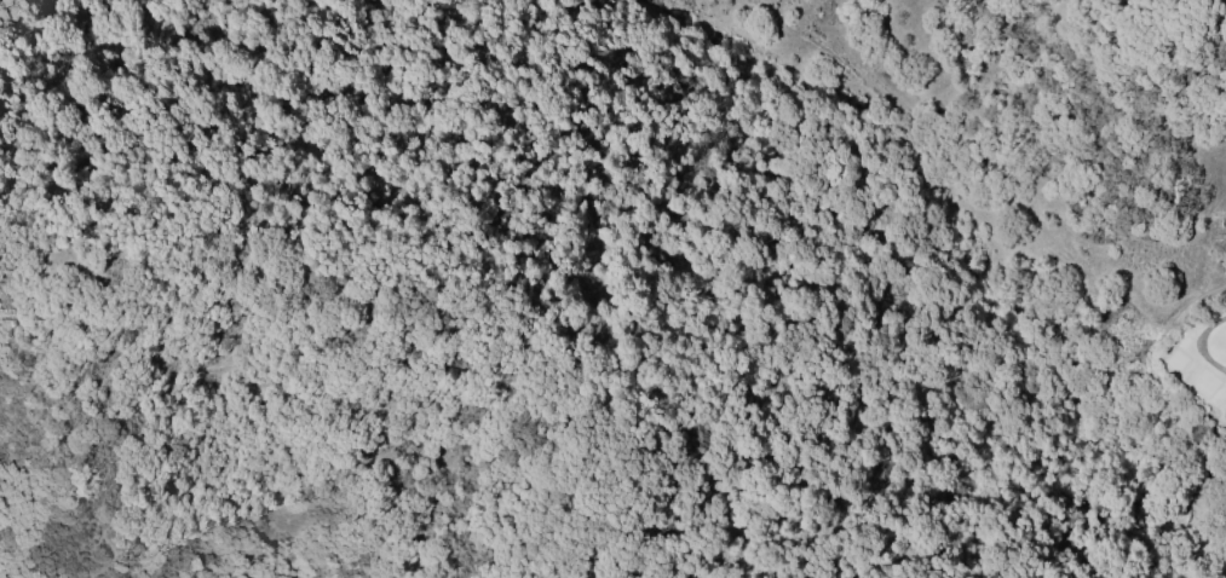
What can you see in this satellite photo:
road: (1199, 345)

